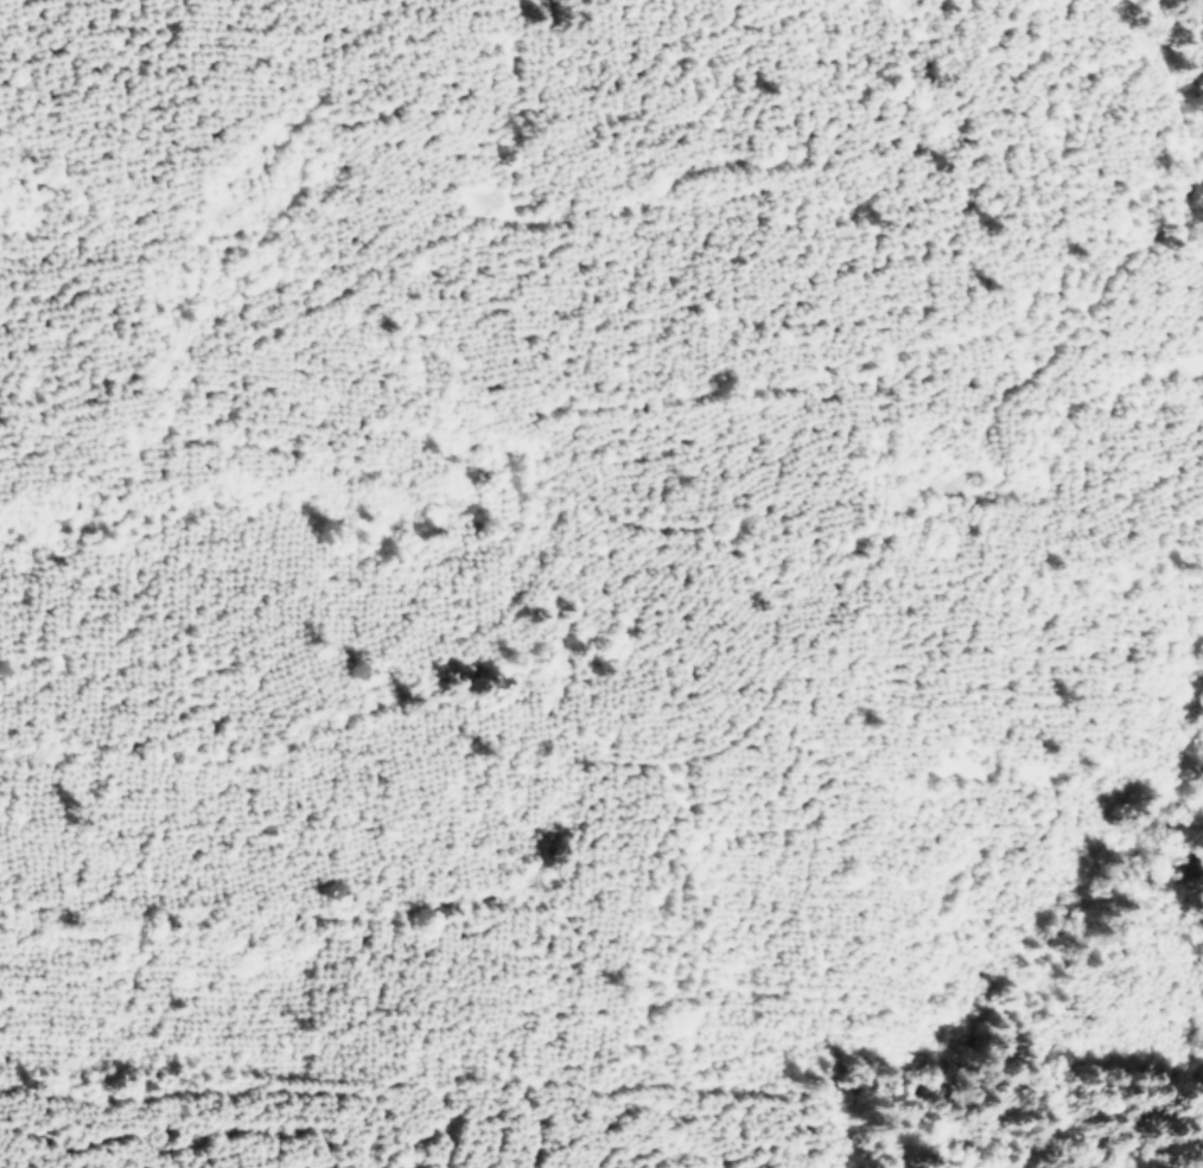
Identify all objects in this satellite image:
road: (1192, 4)
road: (910, 181)
road: (777, 675)
road: (295, 840)

